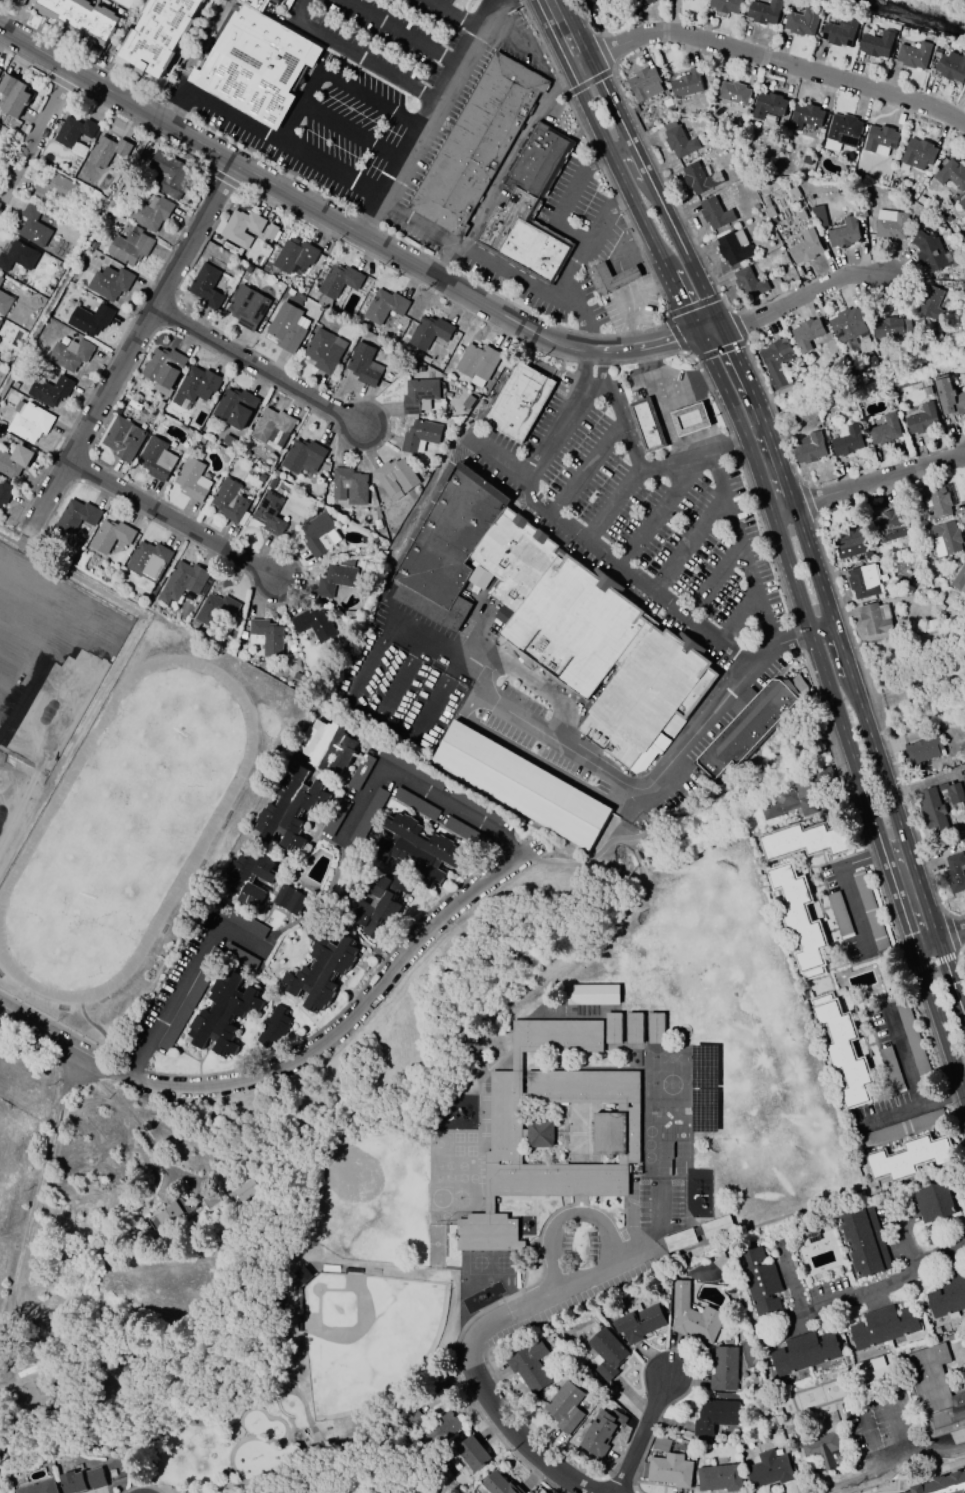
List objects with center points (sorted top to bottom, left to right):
building: (13, 0)
building: (686, 0)
building: (20, 1)
building: (649, 2)
building: (595, 3)
building: (729, 6)
road: (301, 12)
building: (768, 13)
road: (453, 16)
building: (81, 21)
building: (806, 23)
road: (397, 34)
building: (844, 34)
building: (162, 37)
road: (519, 42)
building: (880, 45)
building: (917, 56)
road: (768, 60)
road: (366, 64)
building: (258, 66)
building: (953, 67)
building: (1, 73)
building: (645, 84)
building: (690, 85)
building: (735, 93)
building: (15, 97)
road: (369, 102)
building: (667, 103)
building: (773, 107)
road: (172, 109)
road: (297, 110)
road: (431, 115)
building: (809, 117)
building: (0, 127)
building: (846, 131)
building: (77, 132)
road: (36, 134)
road: (351, 134)
building: (881, 140)
building: (681, 142)
building: (477, 144)
building: (108, 151)
road: (510, 155)
building: (921, 155)
building: (809, 160)
building: (862, 164)
building: (853, 171)
building: (953, 174)
building: (173, 175)
building: (698, 178)
building: (58, 190)
building: (796, 192)
road: (567, 195)
road: (370, 200)
building: (922, 200)
building: (963, 203)
building: (770, 207)
building: (528, 208)
building: (715, 214)
building: (152, 215)
building: (821, 216)
building: (889, 225)
building: (36, 228)
building: (245, 228)
road: (350, 230)
road: (571, 234)
building: (847, 234)
building: (272, 236)
road: (625, 246)
building: (734, 247)
building: (808, 248)
building: (133, 249)
building: (930, 252)
building: (19, 256)
road: (585, 256)
building: (297, 258)
road: (444, 258)
building: (236, 264)
building: (610, 280)
road: (624, 280)
building: (2, 282)
building: (750, 283)
building: (113, 284)
building: (340, 285)
building: (210, 288)
road: (800, 296)
building: (932, 304)
building: (6, 305)
building: (387, 308)
building: (250, 309)
road: (582, 316)
road: (632, 317)
building: (93, 320)
building: (852, 323)
building: (1, 324)
building: (891, 327)
building: (291, 330)
traffic signals: (724, 332)
building: (810, 332)
building: (432, 334)
traffic signals: (702, 336)
road: (133, 347)
building: (326, 353)
building: (73, 357)
building: (777, 362)
building: (480, 365)
building: (366, 366)
road: (262, 367)
building: (167, 372)
road: (671, 381)
building: (199, 387)
building: (54, 390)
building: (930, 392)
building: (422, 398)
building: (951, 400)
building: (471, 404)
building: (523, 405)
building: (238, 410)
road: (614, 411)
road: (566, 418)
building: (690, 419)
building: (28, 420)
building: (925, 420)
road: (666, 421)
building: (648, 426)
building: (275, 431)
building: (888, 432)
building: (423, 439)
building: (126, 440)
building: (230, 443)
building: (849, 443)
building: (201, 446)
building: (812, 450)
road: (691, 455)
building: (306, 460)
building: (160, 461)
building: (16, 463)
road: (586, 470)
building: (264, 479)
building: (398, 481)
road: (868, 482)
building: (196, 483)
building: (274, 485)
building: (352, 489)
building: (254, 493)
building: (6, 495)
building: (943, 499)
road: (792, 502)
building: (233, 504)
road: (612, 505)
road: (658, 509)
building: (271, 516)
building: (79, 519)
road: (174, 523)
building: (893, 526)
building: (380, 527)
road: (416, 527)
road: (779, 533)
building: (946, 537)
building: (114, 538)
building: (322, 538)
building: (852, 543)
road: (688, 544)
road: (741, 548)
road: (604, 555)
building: (151, 562)
building: (960, 578)
building: (338, 581)
road: (713, 582)
building: (185, 583)
building: (866, 583)
building: (217, 612)
building: (353, 616)
building: (560, 619)
road: (738, 620)
building: (878, 620)
building: (931, 624)
road: (477, 625)
building: (197, 627)
building: (316, 627)
road: (809, 634)
building: (245, 637)
park: (52, 638)
building: (269, 639)
road: (438, 649)
building: (294, 650)
road: (371, 660)
road: (484, 676)
road: (397, 678)
road: (544, 689)
road: (434, 701)
road: (710, 714)
building: (261, 715)
building: (750, 729)
road: (537, 730)
building: (329, 749)
building: (924, 750)
building: (361, 772)
building: (964, 777)
park: (111, 778)
road: (621, 782)
building: (520, 785)
road: (425, 791)
building: (802, 795)
building: (415, 804)
building: (941, 807)
building: (292, 811)
building: (370, 813)
building: (335, 818)
park: (128, 819)
track: (38, 825)
building: (806, 845)
building: (420, 852)
road: (597, 855)
building: (956, 875)
building: (249, 879)
road: (845, 886)
building: (290, 899)
building: (381, 910)
building: (870, 910)
building: (839, 915)
building: (241, 920)
building: (801, 923)
road: (280, 933)
road: (940, 937)
building: (242, 958)
building: (320, 974)
building: (592, 993)
building: (221, 1019)
building: (613, 1027)
building: (634, 1027)
building: (655, 1027)
road: (158, 1028)
building: (274, 1028)
building: (913, 1040)
building: (844, 1049)
road: (904, 1055)
road: (294, 1057)
building: (891, 1069)
building: (704, 1087)
road: (938, 1101)
road: (127, 1114)
road: (884, 1119)
building: (602, 1132)
building: (890, 1132)
building: (910, 1158)
park: (357, 1175)
road: (38, 1186)
building: (246, 1190)
building: (211, 1200)
building: (933, 1202)
building: (171, 1213)
road: (656, 1218)
building: (717, 1227)
road: (606, 1229)
building: (680, 1240)
building: (864, 1241)
parking lot: (590, 1258)
building: (760, 1282)
road: (867, 1297)
building: (947, 1298)
building: (693, 1316)
building: (639, 1322)
building: (884, 1326)
park: (324, 1332)
park: (366, 1336)
road: (470, 1343)
building: (606, 1353)
building: (804, 1353)
building: (530, 1367)
building: (724, 1369)
building: (935, 1391)
road: (869, 1399)
building: (565, 1408)
building: (714, 1416)
building: (411, 1420)
building: (441, 1428)
road: (896, 1428)
building: (601, 1431)
road: (639, 1437)
building: (660, 1441)
road: (875, 1448)
building: (821, 1449)
building: (471, 1453)
road: (915, 1459)
road: (957, 1460)
building: (668, 1470)
building: (769, 1470)
building: (719, 1478)
building: (82, 1480)
road: (938, 1483)
building: (498, 1484)
building: (38, 1487)

